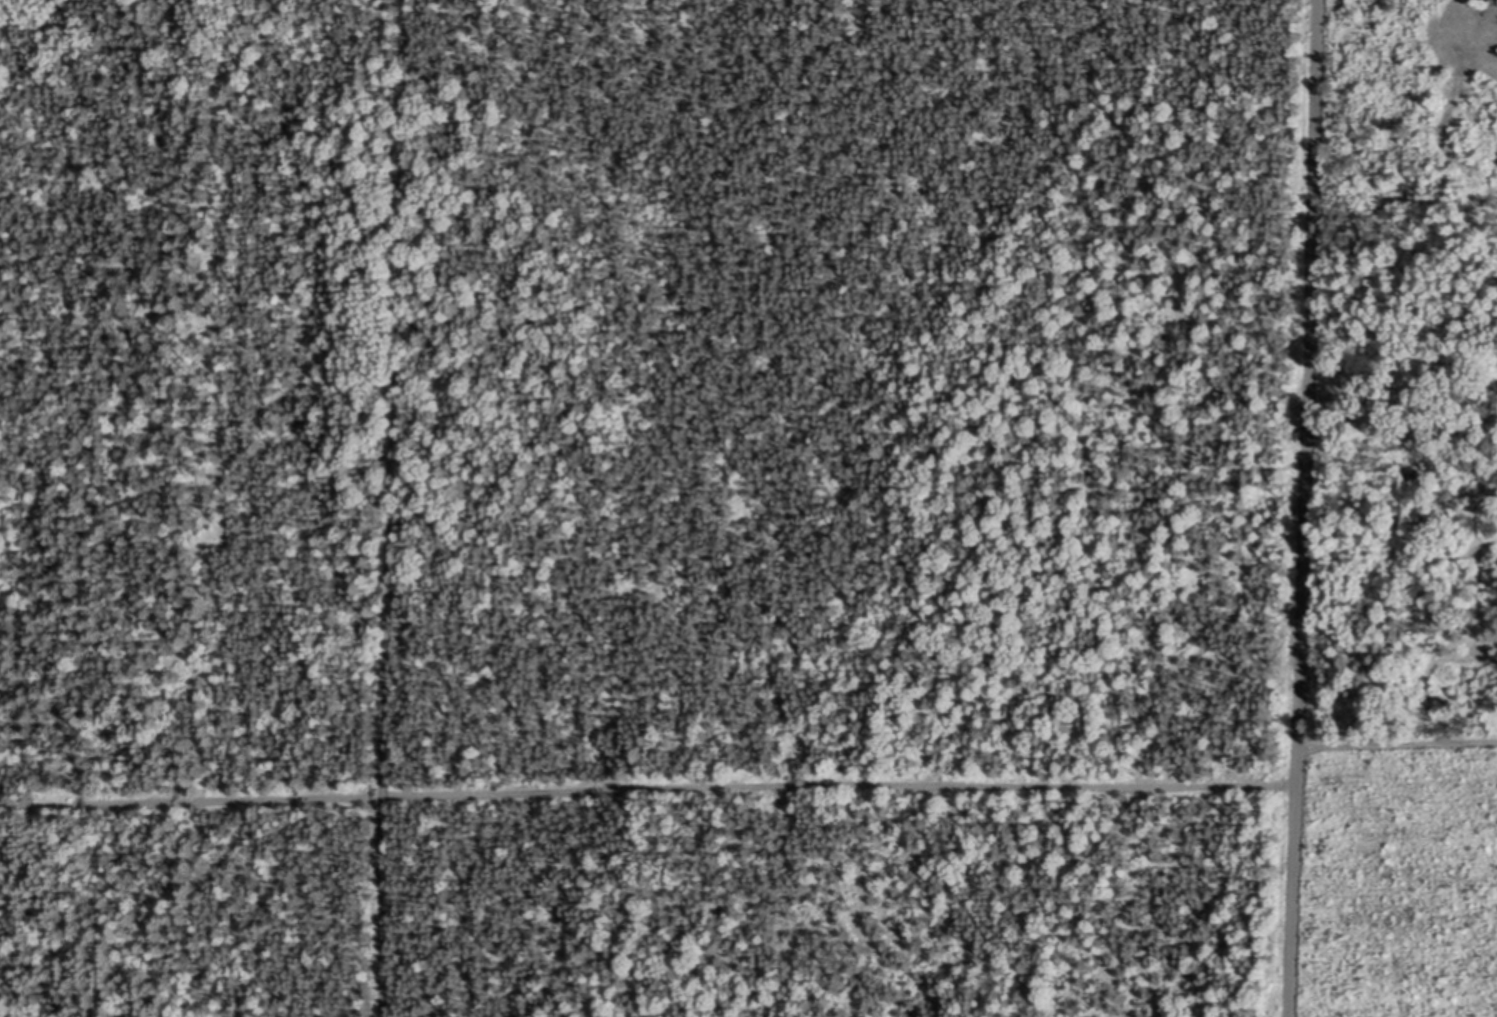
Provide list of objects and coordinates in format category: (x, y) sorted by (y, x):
road: (1493, 30)
road: (390, 508)
road: (1304, 508)
road: (1397, 744)
road: (648, 790)

